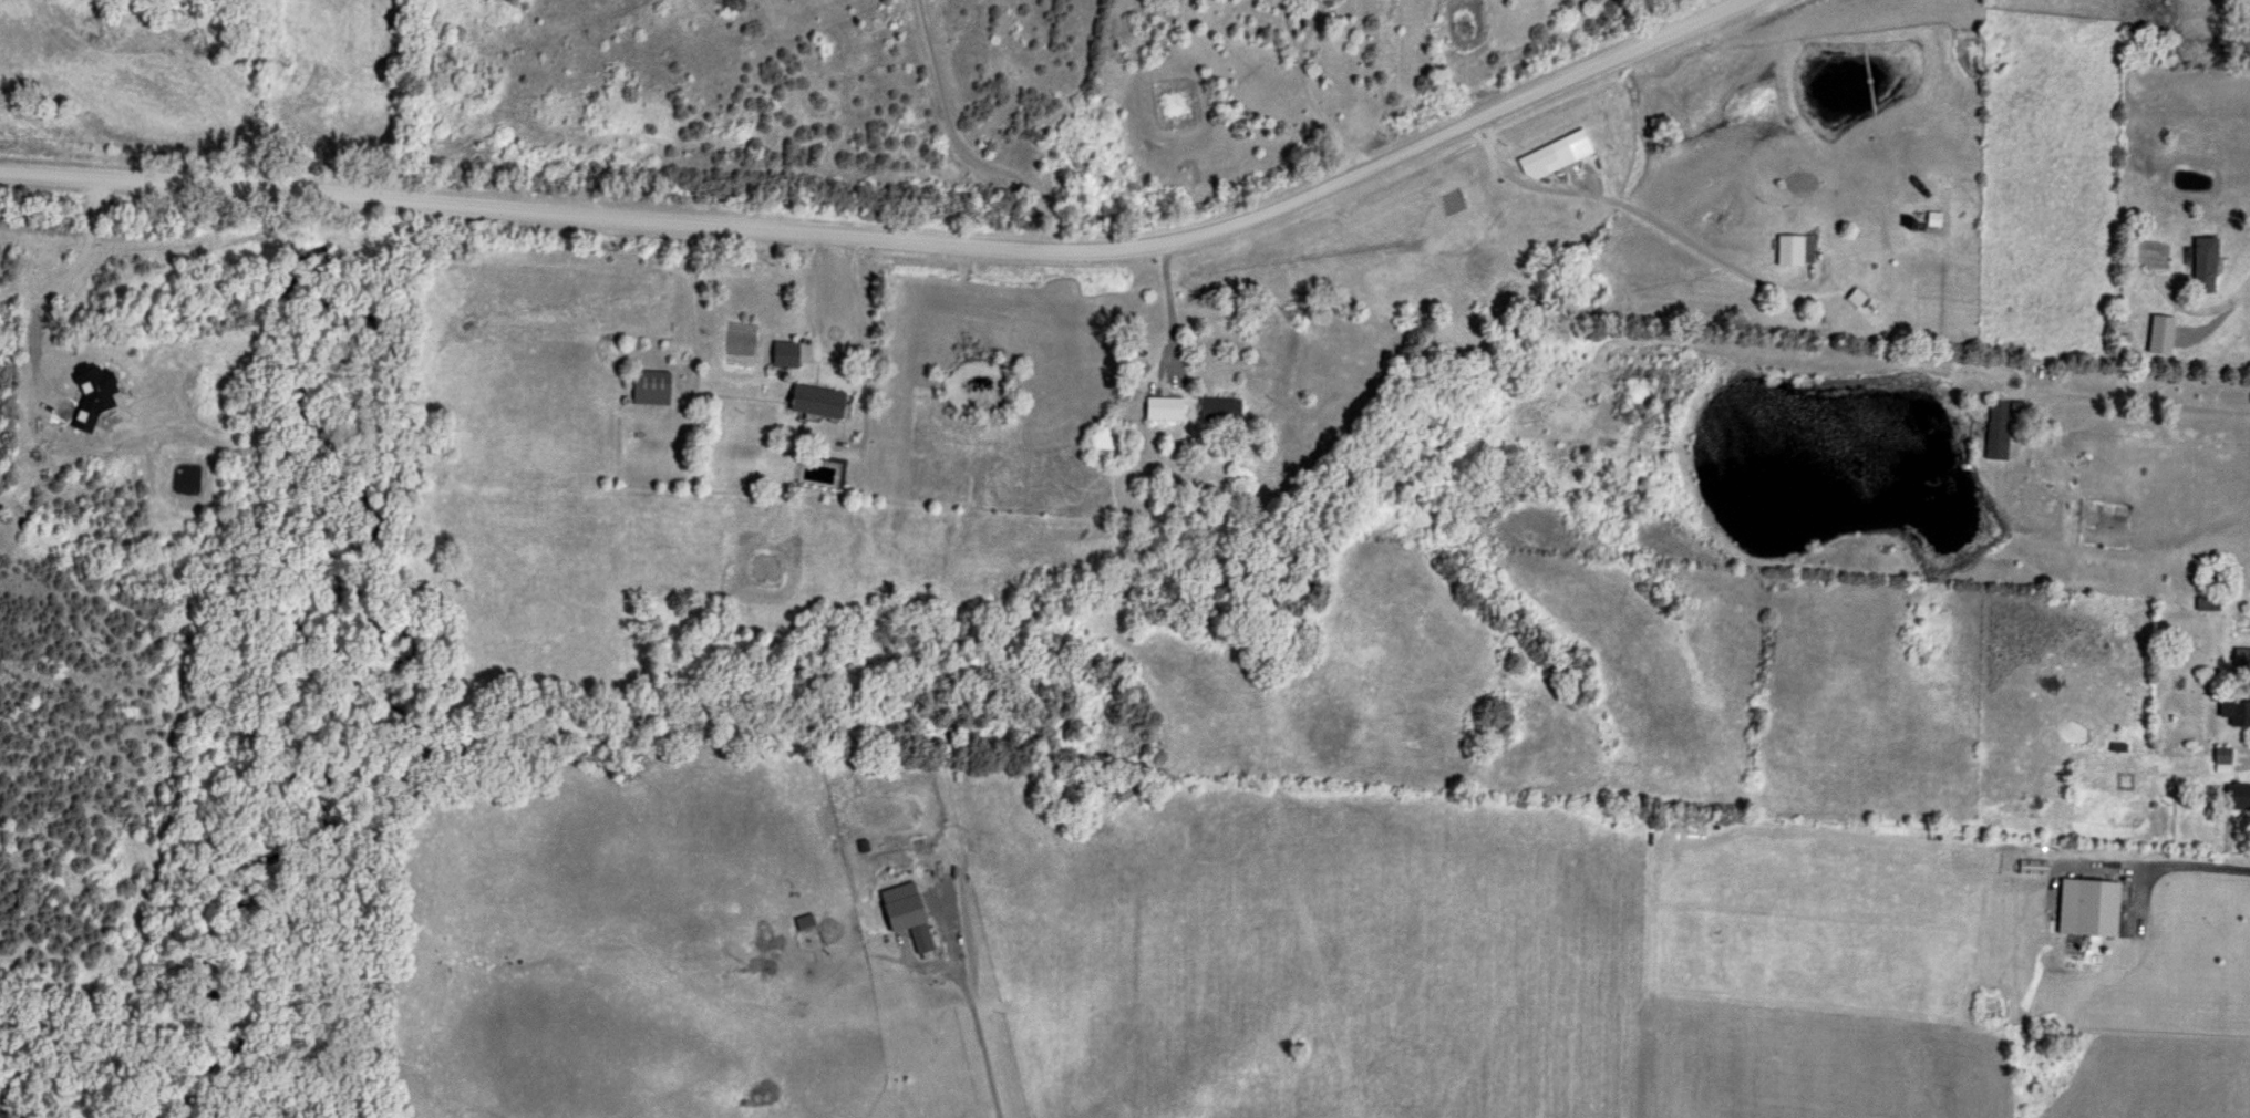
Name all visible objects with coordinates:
road: (1707, 9)
building: (2249, 23)
road: (1284, 28)
road: (1307, 29)
road: (1322, 121)
road: (961, 148)
building: (1532, 164)
road: (1649, 216)
building: (1930, 220)
road: (901, 242)
building: (1788, 251)
building: (2200, 263)
building: (2166, 282)
building: (1850, 298)
road: (690, 307)
road: (2203, 308)
road: (1165, 310)
road: (830, 353)
building: (778, 354)
building: (643, 387)
road: (2140, 400)
building: (808, 401)
building: (1158, 408)
building: (1215, 410)
building: (1994, 428)
building: (2206, 604)
building: (2239, 659)
building: (2232, 713)
building: (2218, 760)
building: (2233, 797)
road: (2191, 862)
building: (2083, 908)
road: (972, 1023)

